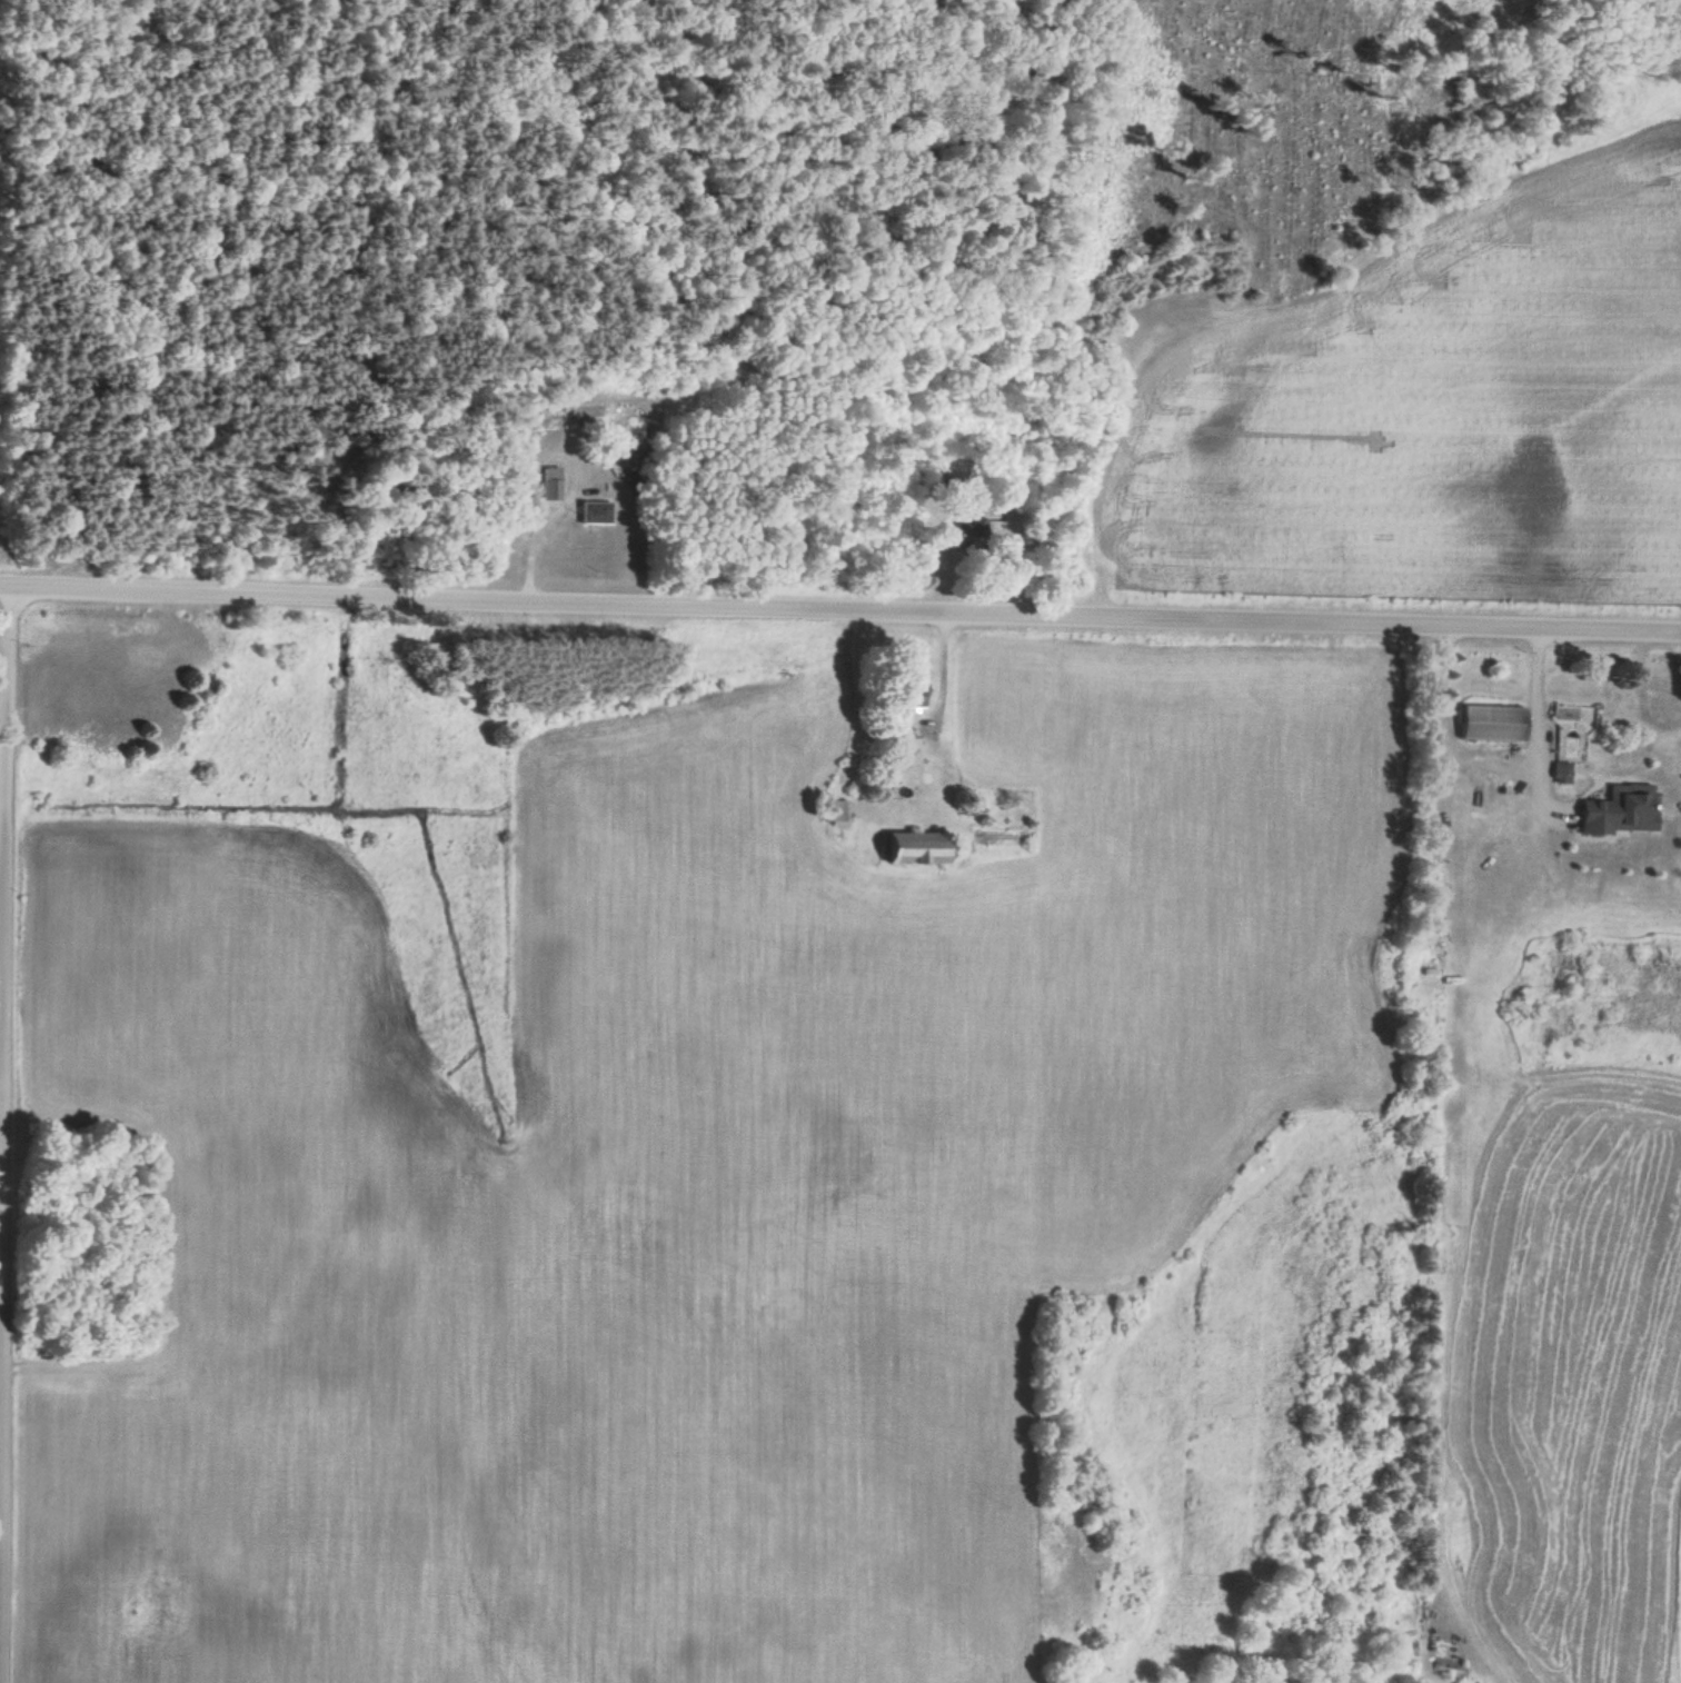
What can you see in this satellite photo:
building: (553, 482)
building: (596, 512)
road: (839, 609)
building: (1481, 724)
road: (0, 793)
building: (1614, 810)
building: (838, 811)
building: (923, 848)

